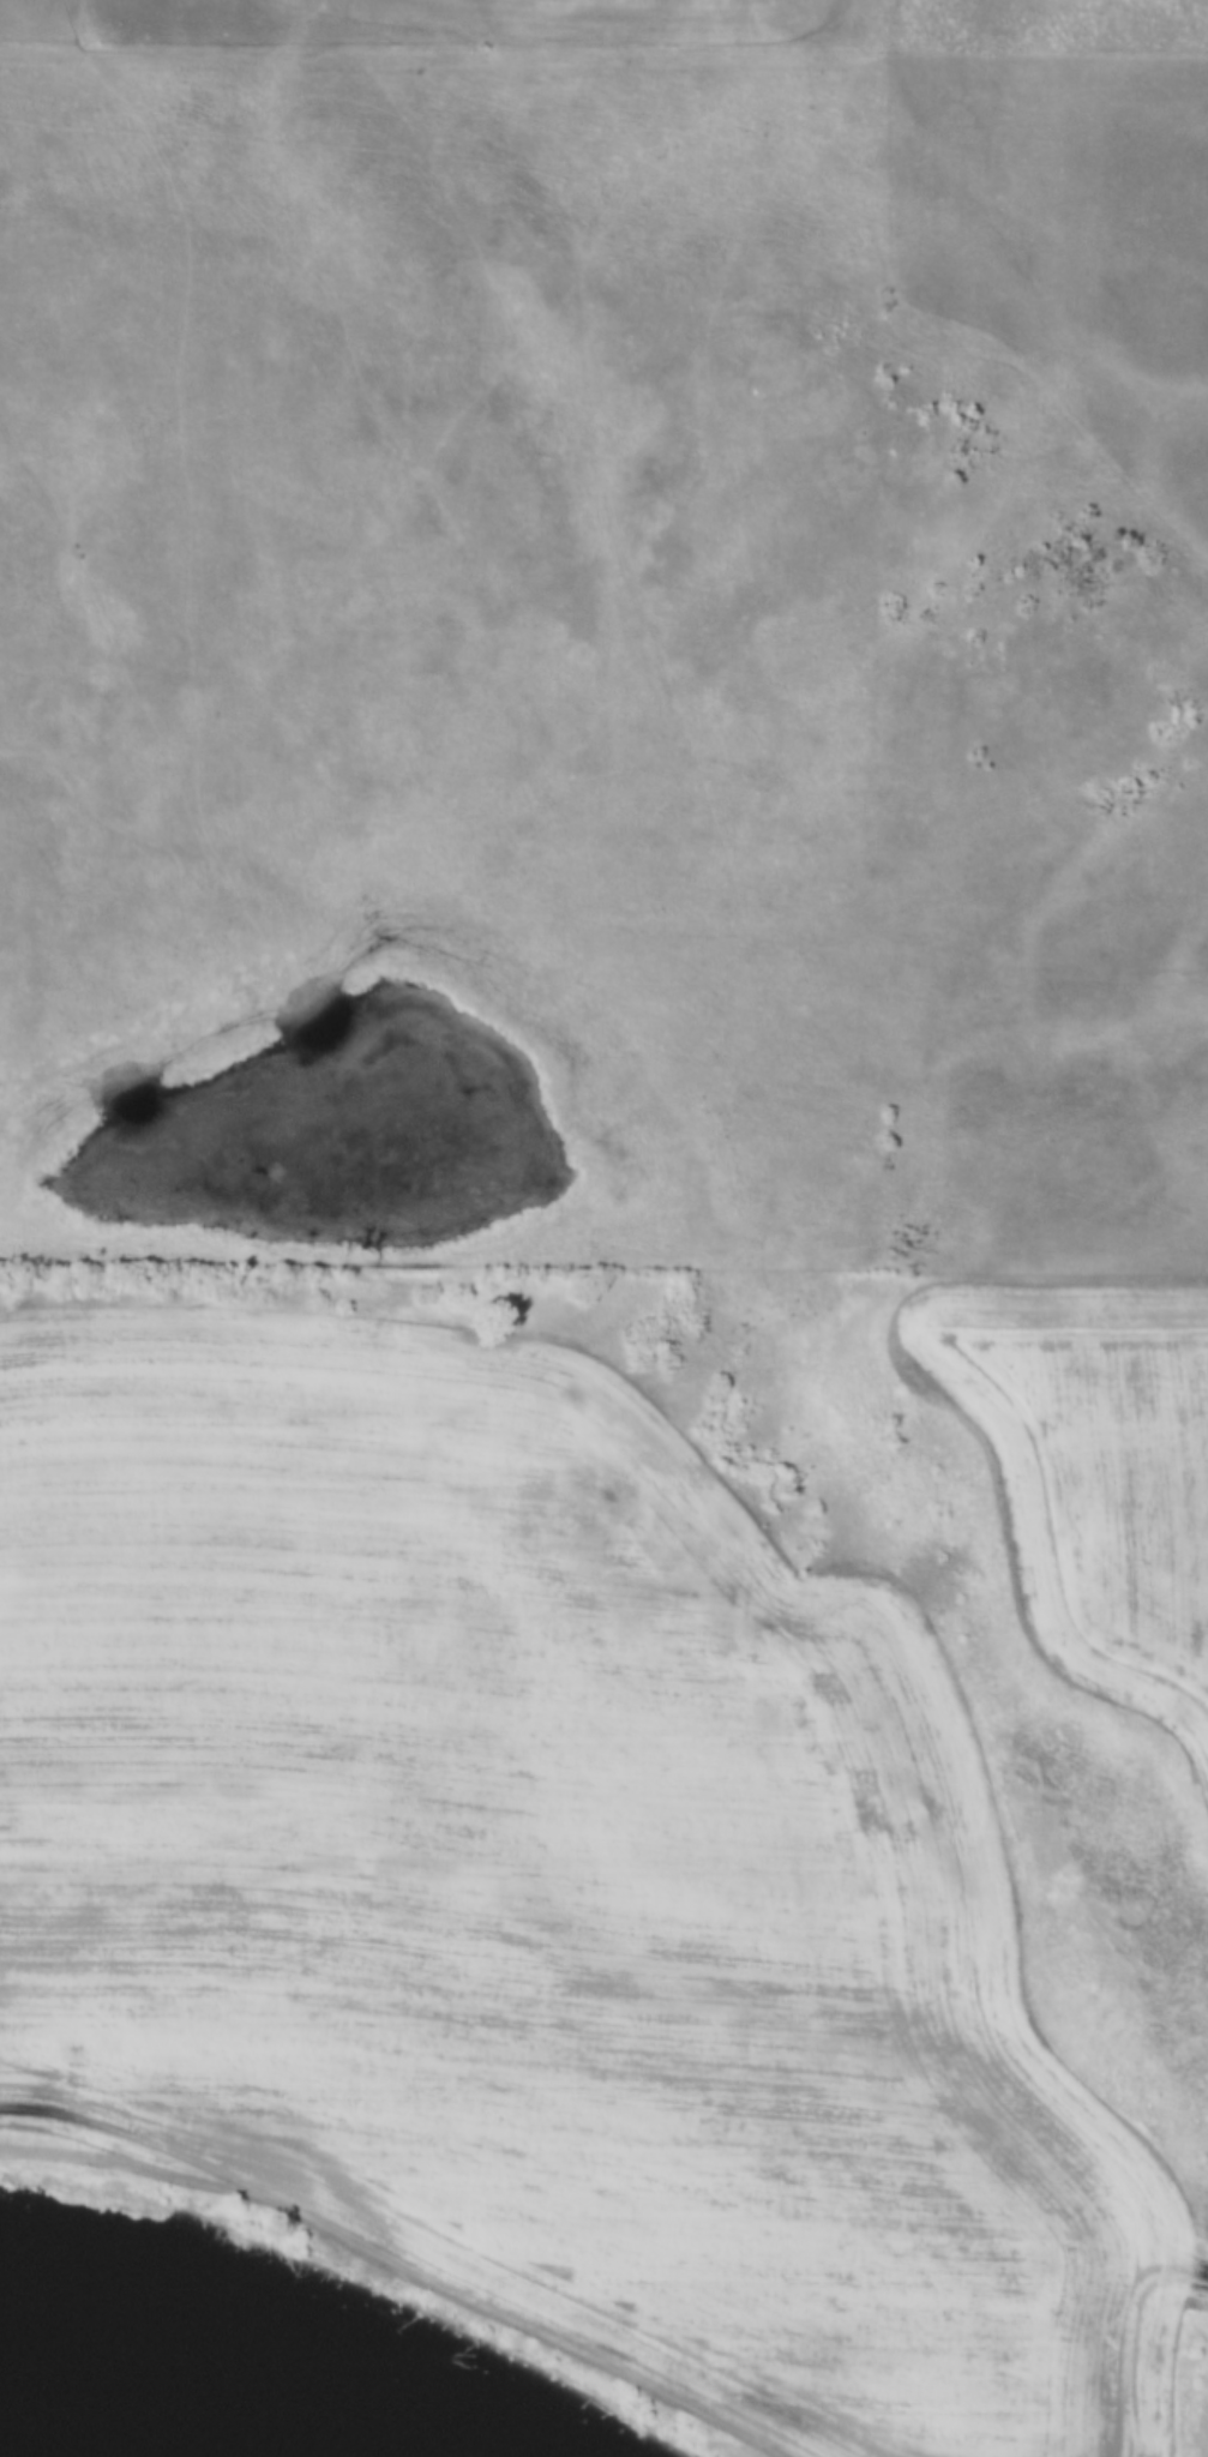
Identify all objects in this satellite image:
road: (411, 2263)

